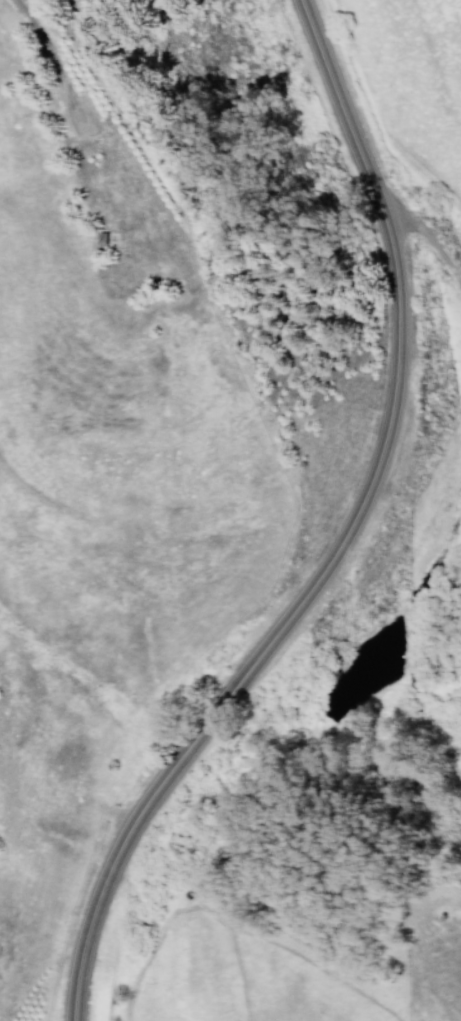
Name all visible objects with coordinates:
road: (58, 39)
road: (335, 98)
road: (107, 121)
road: (422, 237)
road: (281, 622)

